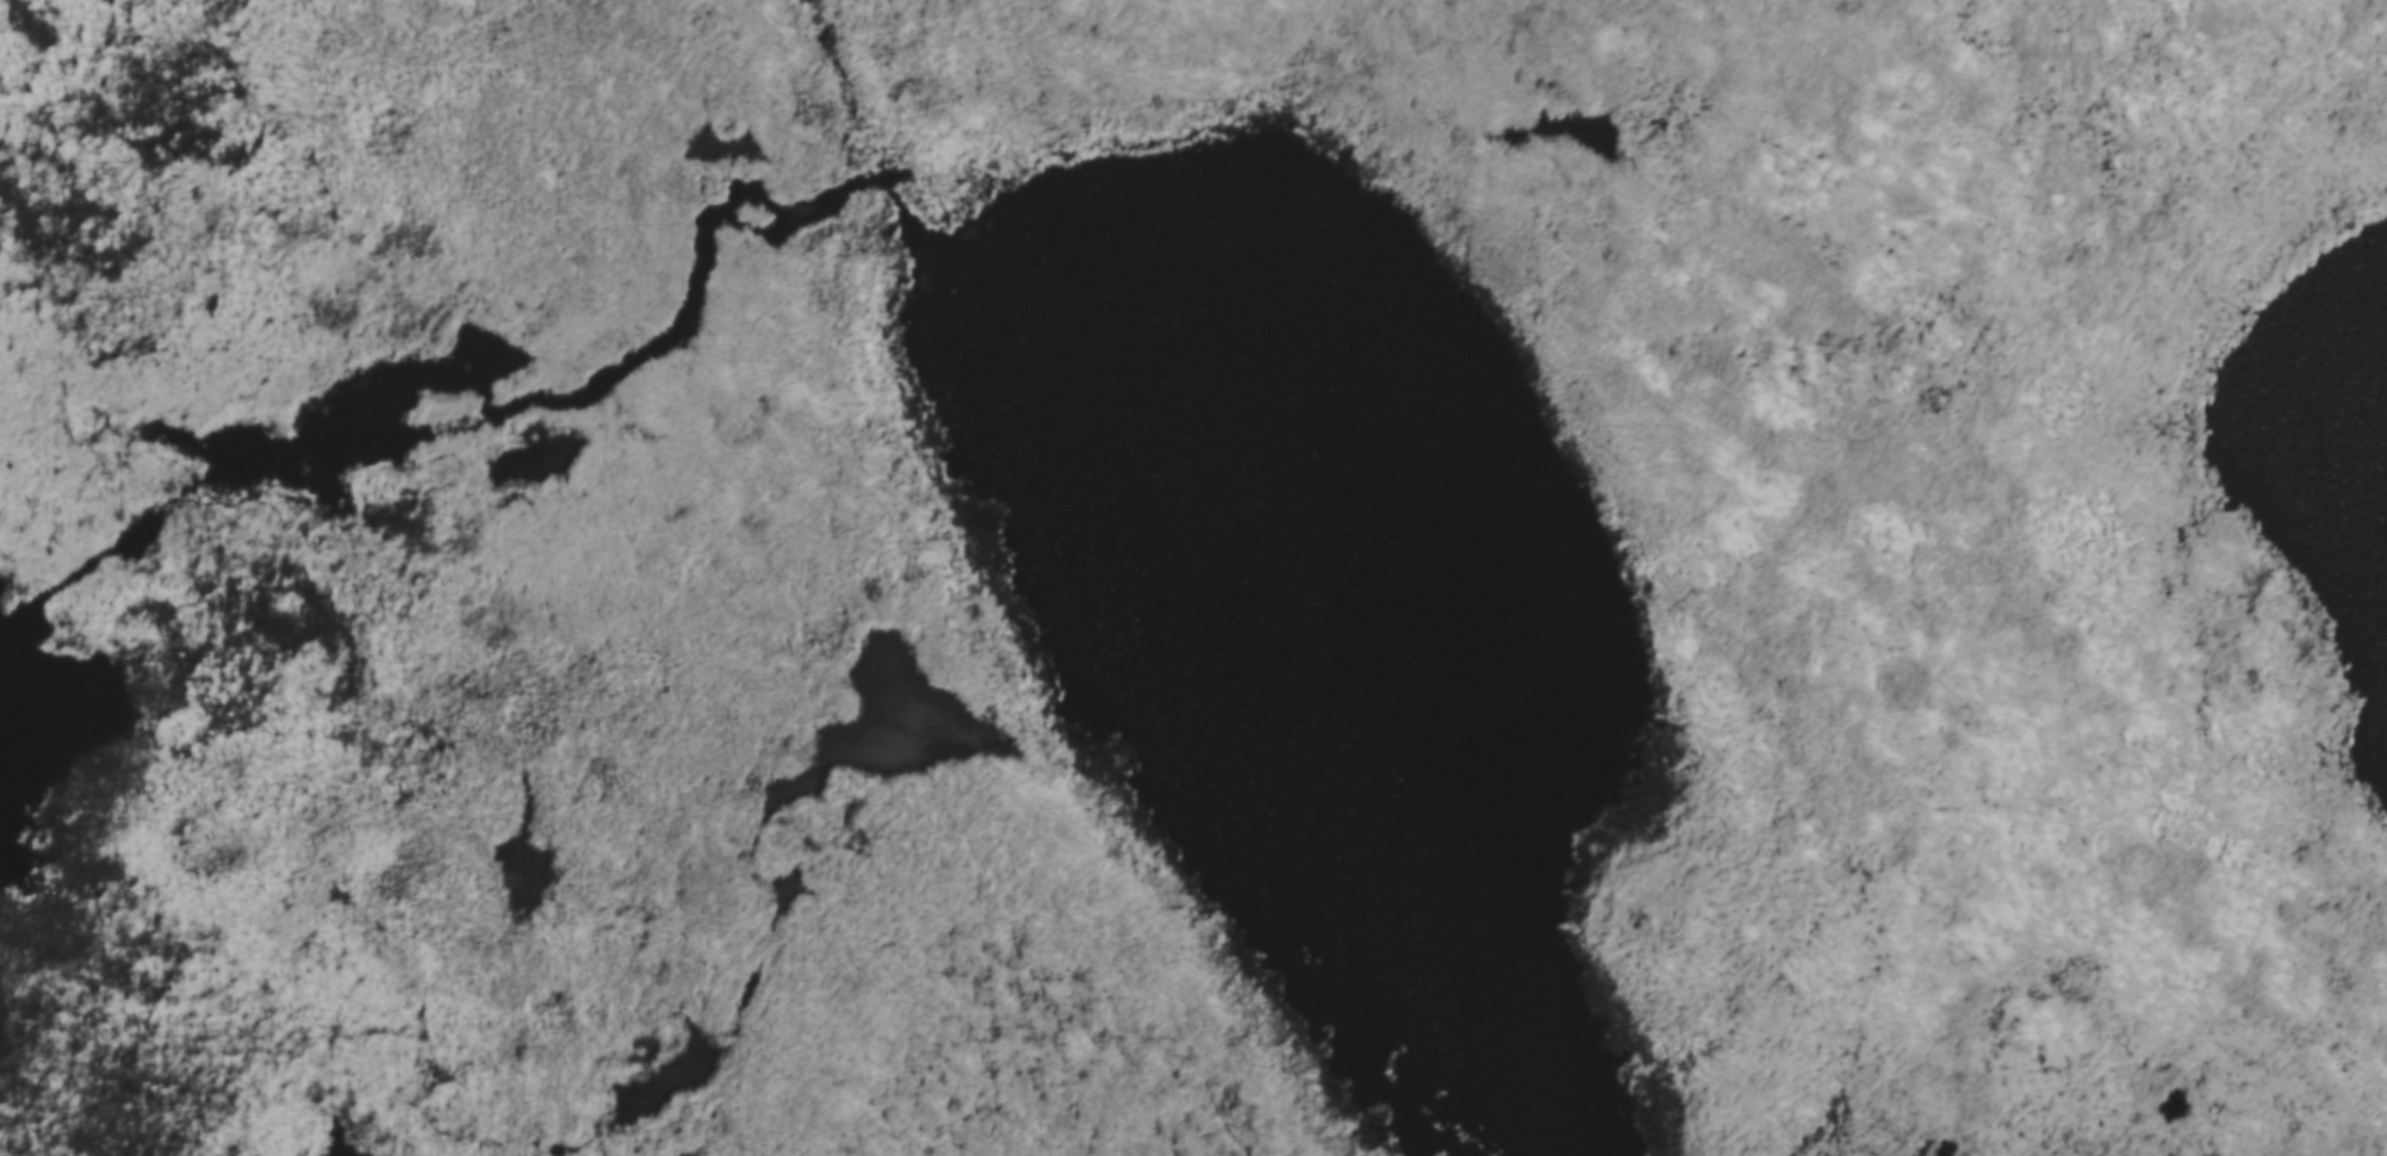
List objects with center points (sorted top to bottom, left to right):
river: (1031, 578)

